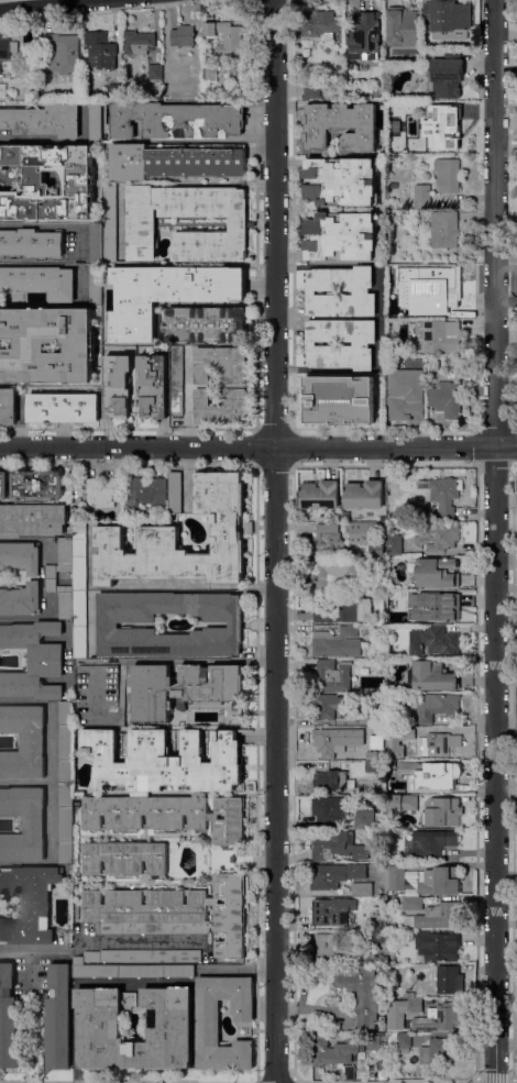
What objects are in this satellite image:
road: (50, 5)
building: (449, 19)
building: (319, 25)
building: (402, 31)
building: (183, 35)
building: (365, 35)
building: (227, 37)
building: (140, 42)
building: (8, 48)
building: (101, 51)
building: (63, 53)
building: (5, 68)
building: (155, 71)
building: (210, 74)
building: (447, 75)
building: (2, 90)
building: (312, 90)
building: (114, 91)
building: (351, 96)
building: (43, 120)
building: (176, 120)
building: (95, 121)
building: (442, 121)
building: (340, 125)
road: (206, 140)
building: (173, 162)
building: (447, 175)
building: (341, 181)
building: (79, 183)
building: (419, 197)
building: (389, 218)
building: (99, 220)
building: (108, 223)
building: (140, 224)
road: (53, 225)
building: (443, 229)
building: (341, 236)
building: (31, 243)
building: (96, 244)
road: (29, 264)
building: (40, 281)
building: (96, 285)
building: (361, 292)
building: (166, 295)
building: (443, 301)
building: (409, 303)
building: (206, 324)
building: (438, 336)
building: (31, 346)
building: (338, 346)
building: (414, 364)
building: (453, 365)
building: (432, 366)
building: (451, 375)
building: (178, 382)
building: (117, 386)
building: (153, 386)
building: (238, 387)
road: (188, 397)
building: (322, 397)
building: (447, 398)
building: (364, 400)
building: (403, 401)
building: (8, 406)
building: (63, 409)
road: (257, 446)
road: (188, 479)
building: (3, 485)
building: (37, 485)
building: (103, 491)
building: (176, 493)
building: (147, 494)
building: (320, 495)
building: (443, 495)
building: (363, 496)
building: (34, 519)
building: (158, 530)
building: (363, 532)
building: (438, 537)
building: (328, 540)
road: (275, 541)
road: (494, 541)
building: (69, 544)
building: (394, 544)
building: (376, 551)
building: (20, 557)
building: (79, 557)
building: (335, 573)
building: (436, 573)
building: (51, 575)
road: (42, 578)
road: (505, 589)
building: (21, 599)
building: (339, 609)
building: (427, 609)
building: (79, 625)
building: (108, 625)
building: (435, 641)
building: (338, 643)
building: (33, 660)
road: (178, 660)
building: (333, 675)
building: (432, 676)
building: (182, 688)
building: (330, 706)
building: (436, 706)
building: (378, 719)
building: (377, 730)
building: (398, 740)
building: (337, 741)
building: (374, 741)
building: (23, 742)
building: (442, 742)
building: (65, 743)
building: (374, 755)
building: (163, 761)
building: (392, 764)
building: (373, 766)
building: (430, 775)
building: (371, 776)
building: (331, 781)
road: (25, 782)
road: (52, 782)
building: (402, 803)
building: (76, 809)
building: (330, 809)
building: (442, 811)
building: (167, 815)
building: (366, 819)
building: (23, 822)
building: (65, 825)
building: (432, 843)
building: (339, 847)
building: (128, 859)
building: (232, 859)
building: (335, 875)
building: (442, 877)
building: (361, 888)
building: (411, 903)
building: (29, 904)
building: (173, 911)
building: (330, 911)
building: (437, 916)
building: (385, 940)
building: (326, 944)
building: (438, 946)
road: (31, 953)
building: (137, 957)
building: (363, 959)
building: (132, 971)
building: (449, 982)
building: (361, 992)
building: (411, 1002)
building: (8, 1018)
building: (58, 1018)
building: (438, 1019)
building: (98, 1024)
building: (208, 1031)
building: (375, 1042)
building: (403, 1042)
building: (442, 1048)
building: (331, 1050)
building: (425, 1054)
building: (348, 1070)
building: (348, 1076)
road: (494, 1080)
road: (515, 1080)
road: (284, 1081)
road: (383, 1081)
road: (82, 1082)

